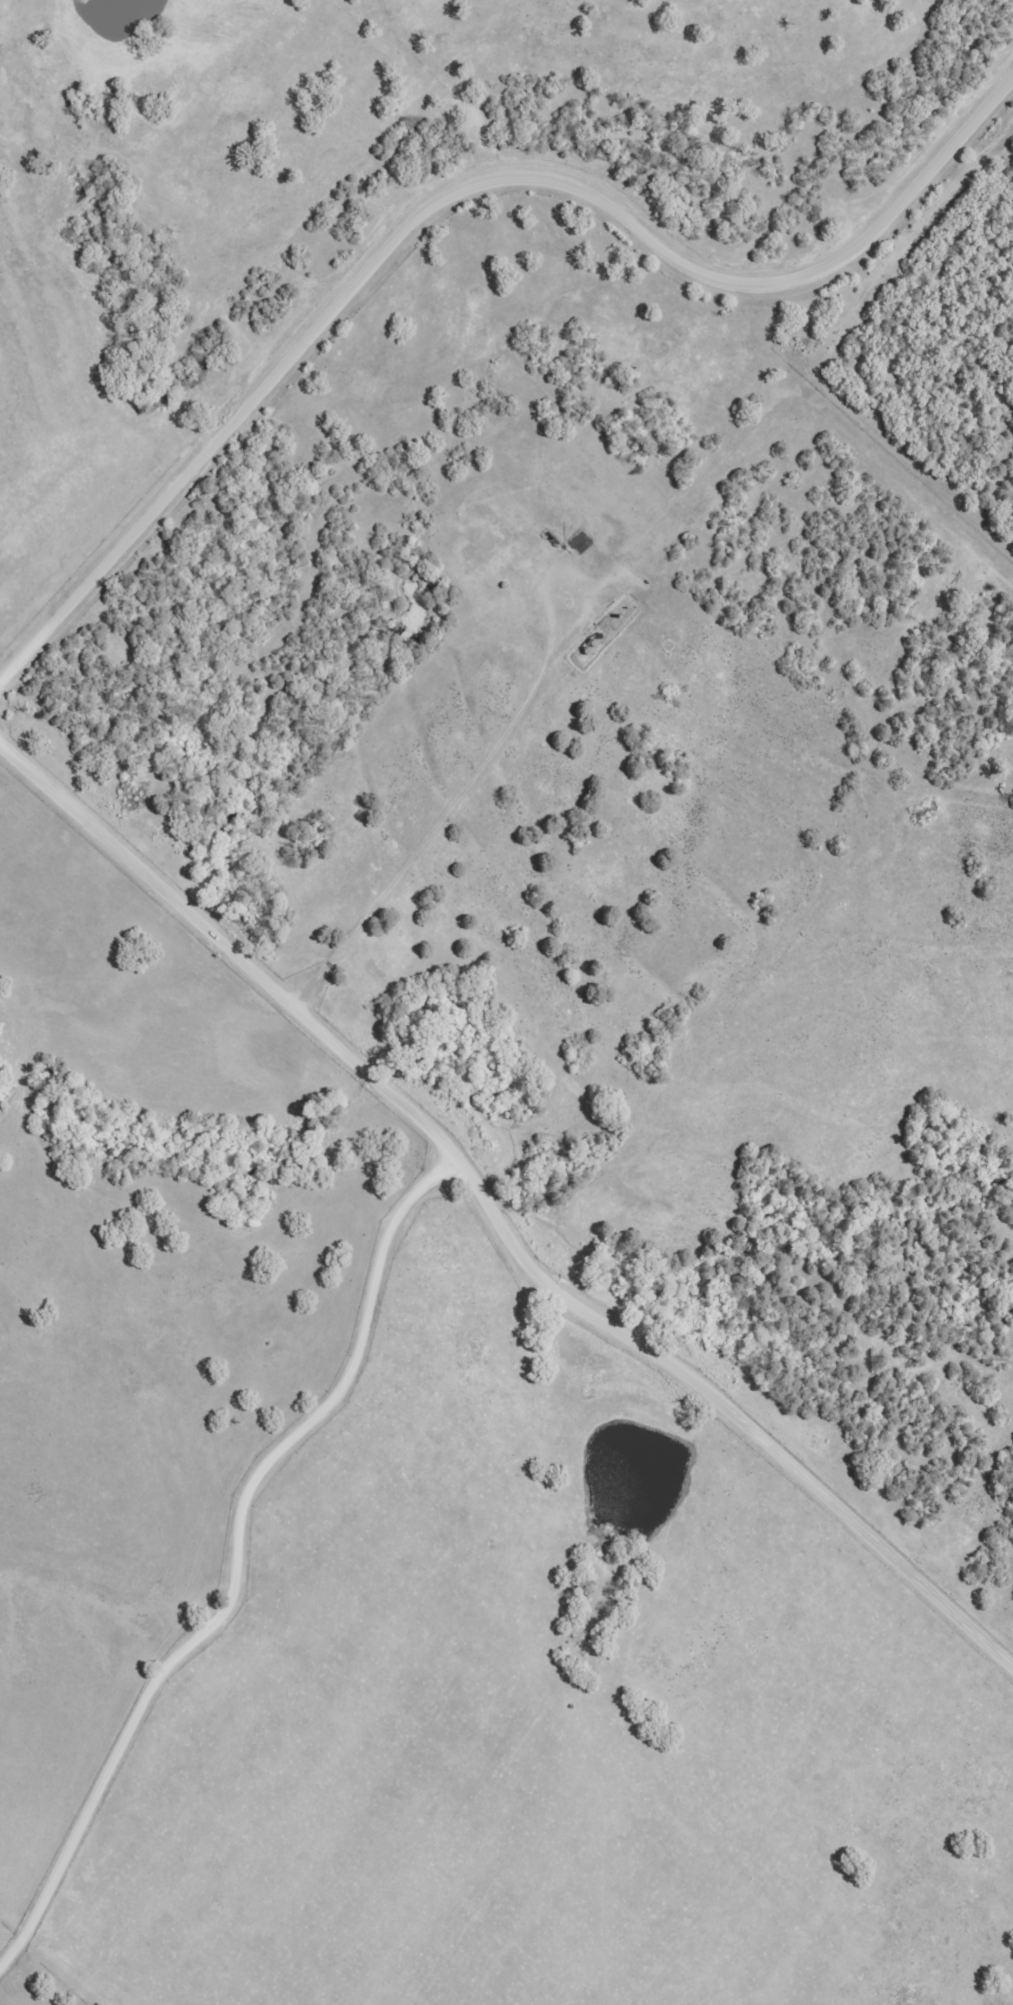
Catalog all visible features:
road: (456, 184)
road: (494, 1216)
road: (238, 1552)

